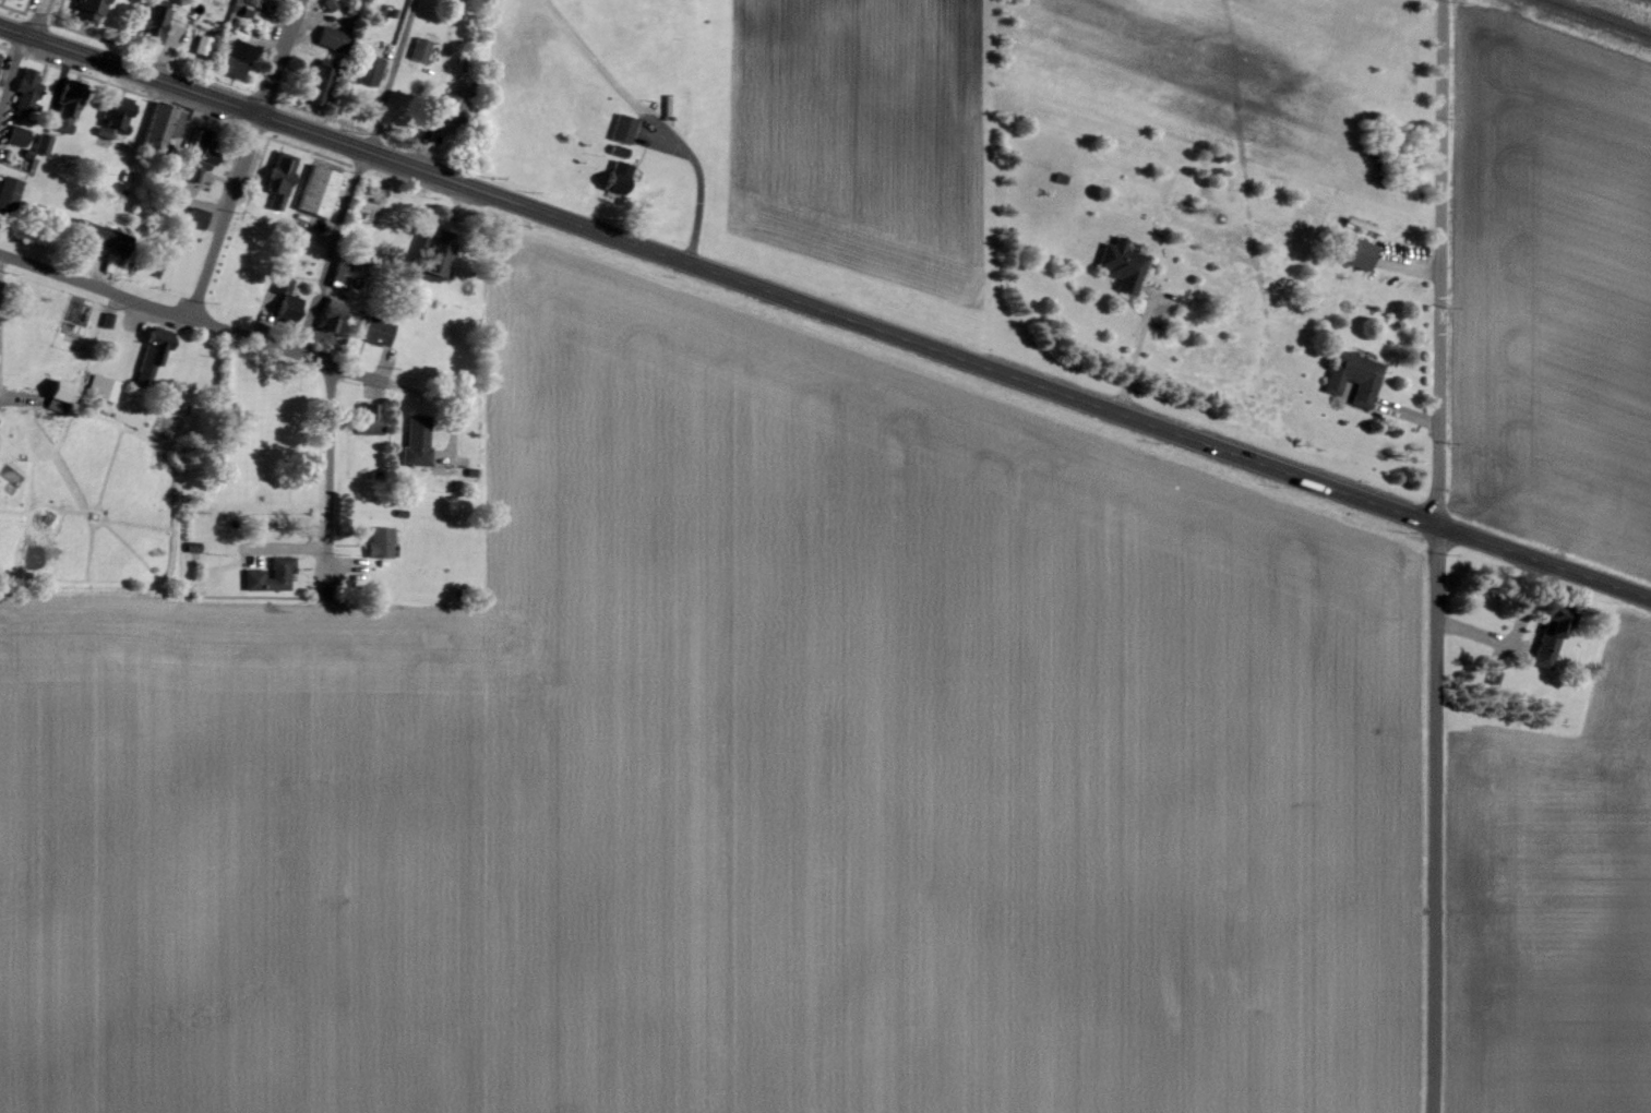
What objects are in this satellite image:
building: (244, 5)
building: (87, 10)
railway: (1601, 16)
building: (149, 24)
building: (327, 38)
building: (419, 50)
road: (19, 52)
road: (585, 57)
building: (0, 58)
building: (231, 60)
building: (369, 68)
building: (315, 86)
building: (25, 89)
building: (65, 105)
building: (444, 113)
building: (111, 117)
building: (159, 127)
building: (621, 129)
building: (16, 135)
building: (41, 145)
building: (617, 151)
building: (198, 155)
road: (244, 158)
road: (354, 175)
building: (614, 178)
building: (278, 180)
building: (9, 193)
building: (316, 193)
building: (194, 218)
building: (99, 234)
road: (610, 236)
building: (1350, 251)
building: (429, 253)
building: (1120, 264)
road: (147, 302)
building: (373, 331)
road: (1134, 352)
building: (1352, 376)
road: (359, 378)
building: (100, 387)
building: (56, 390)
building: (414, 441)
road: (326, 459)
road: (1436, 522)
building: (381, 541)
road: (1437, 555)
building: (272, 575)
building: (1550, 637)

